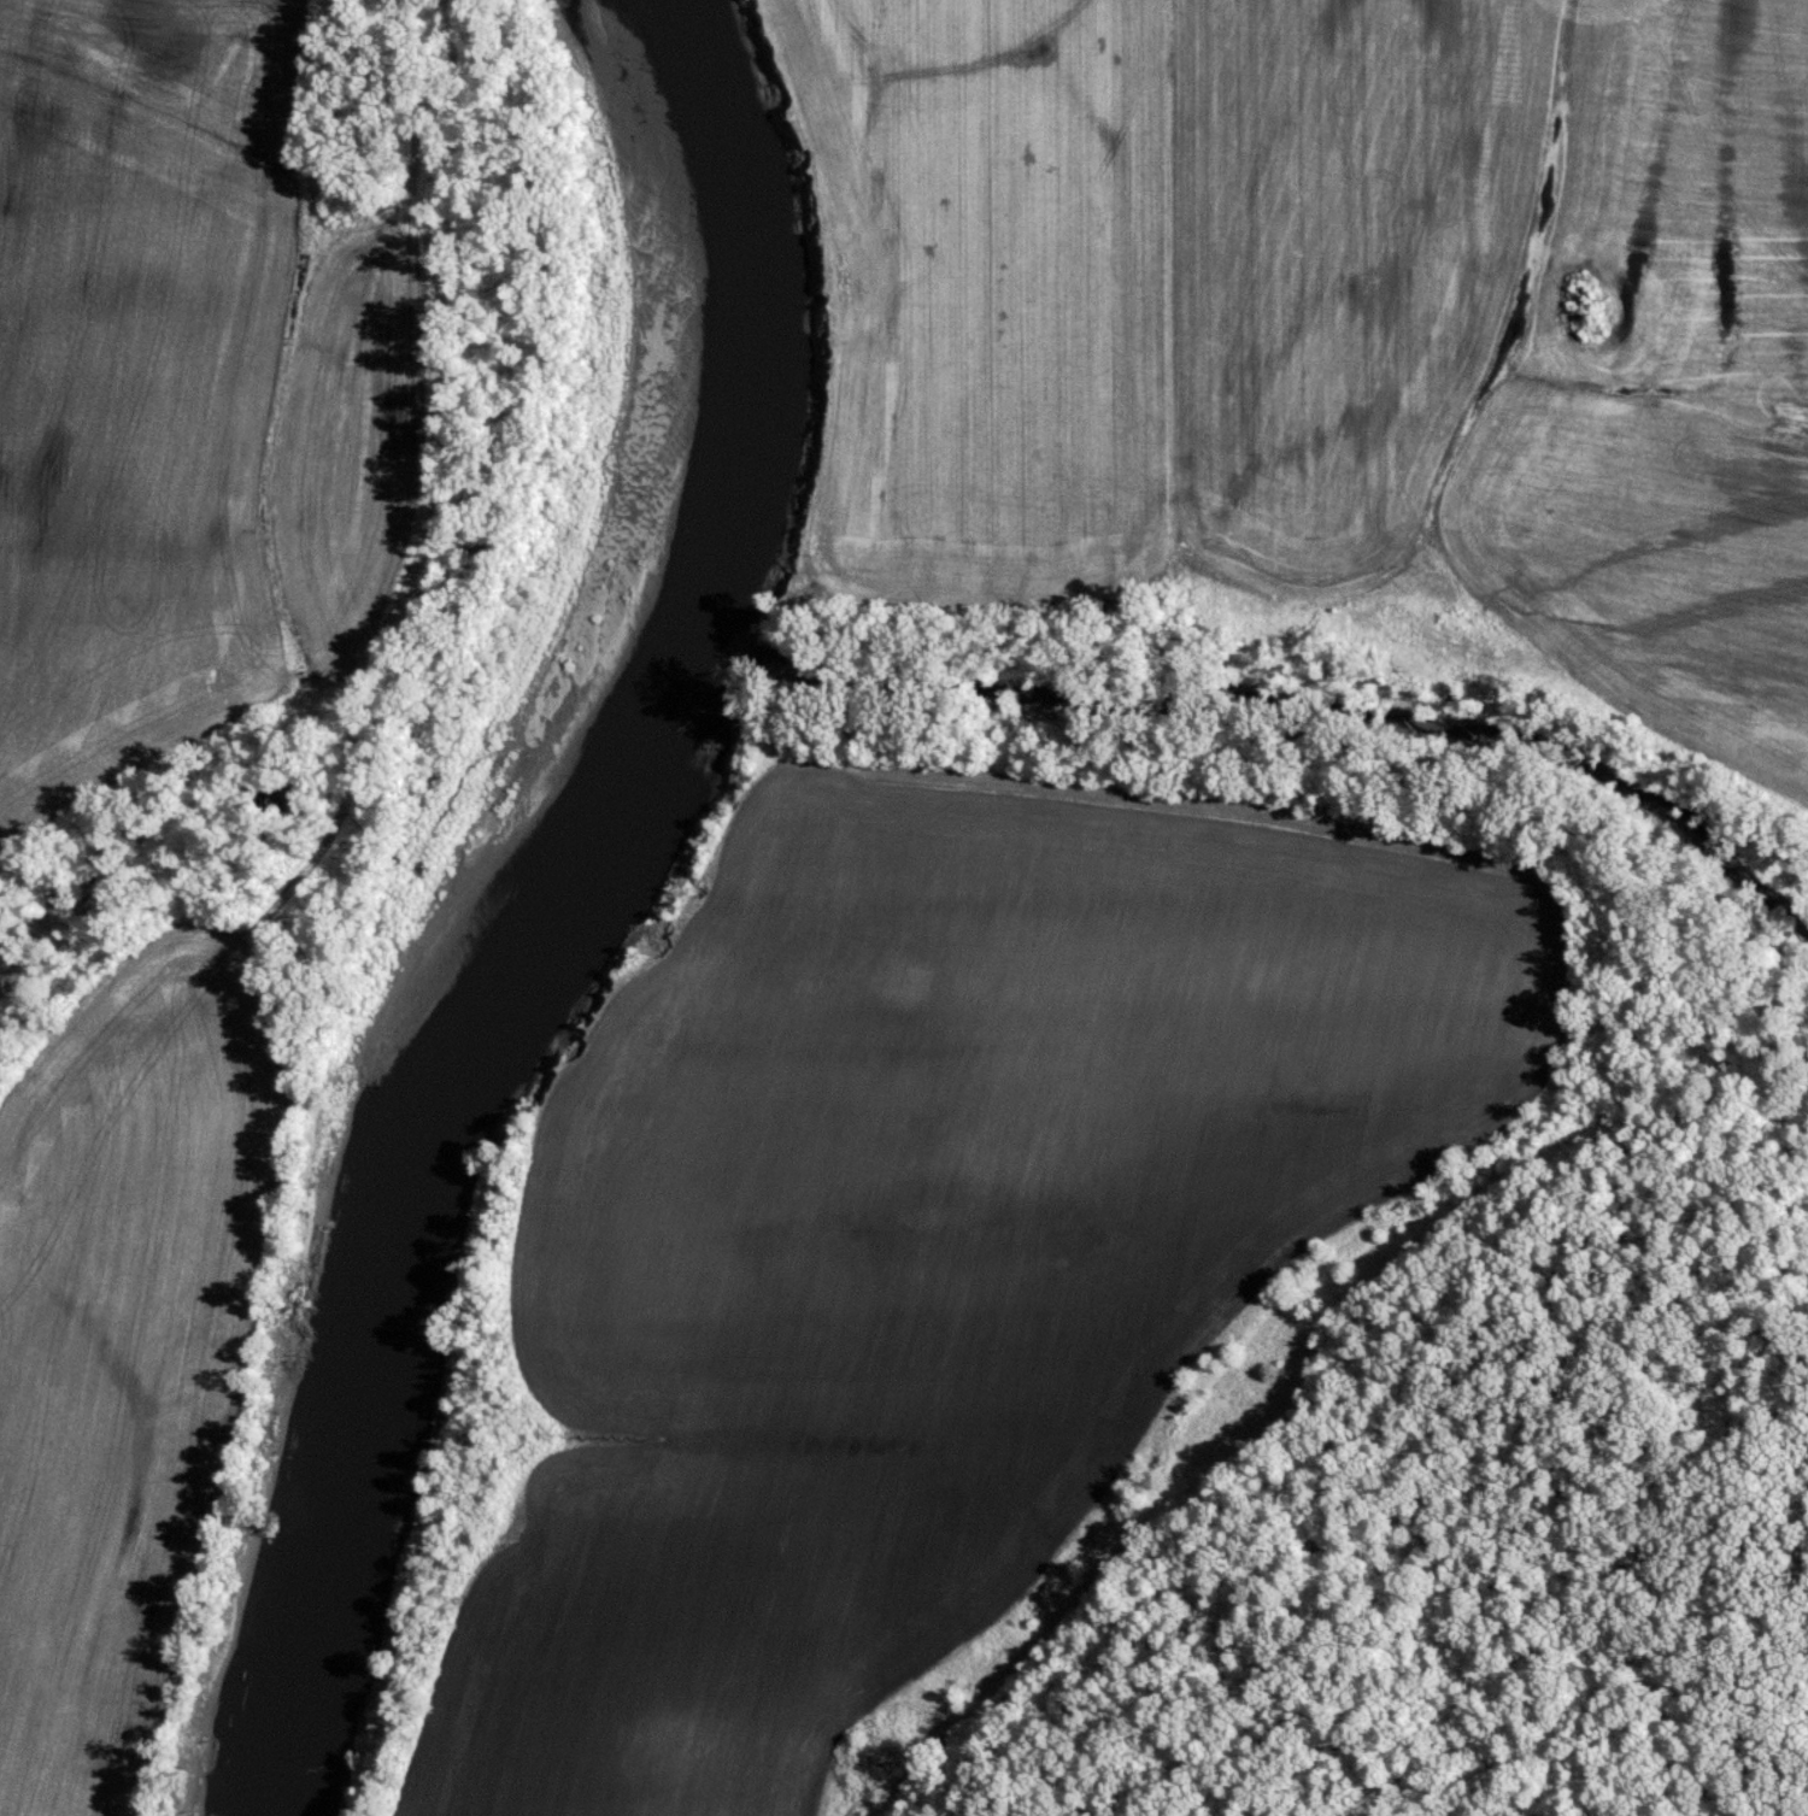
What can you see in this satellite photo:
river: (1209, 677)
river: (485, 893)

